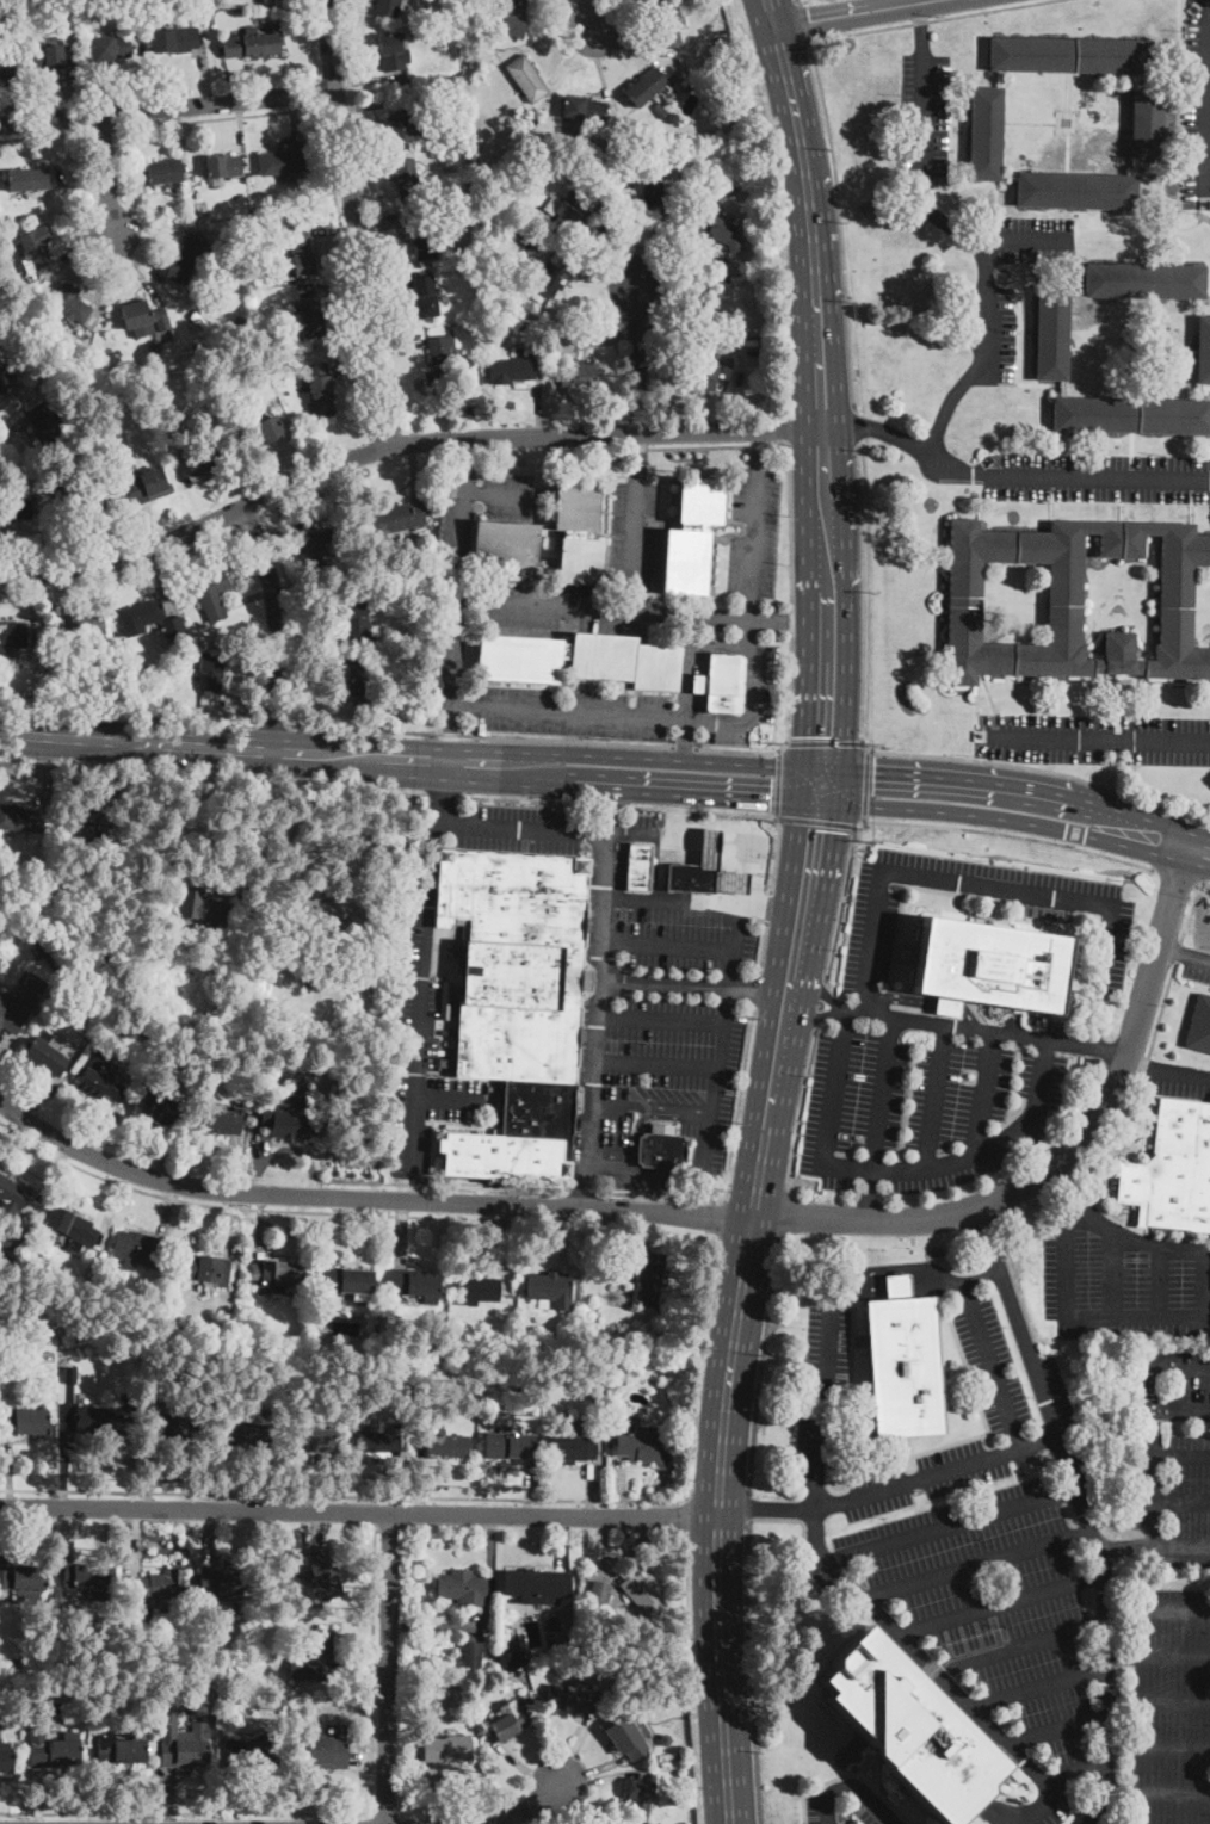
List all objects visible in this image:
building: (647, 0)
building: (649, 1)
road: (797, 1)
building: (92, 4)
building: (67, 5)
building: (387, 7)
building: (459, 7)
building: (7, 12)
road: (856, 13)
road: (589, 16)
building: (513, 18)
road: (803, 19)
road: (932, 19)
road: (922, 26)
building: (667, 29)
road: (313, 39)
building: (175, 41)
building: (726, 42)
building: (252, 43)
building: (110, 49)
building: (391, 52)
building: (1069, 56)
building: (51, 57)
building: (7, 63)
building: (526, 79)
road: (1179, 82)
building: (646, 88)
building: (451, 92)
road: (320, 93)
road: (167, 106)
building: (582, 109)
building: (659, 109)
road: (1206, 110)
parking lot: (1197, 113)
building: (672, 117)
parking lot: (922, 117)
building: (736, 124)
building: (1147, 125)
building: (402, 126)
road: (103, 130)
building: (986, 134)
road: (44, 136)
building: (422, 150)
building: (706, 154)
building: (283, 160)
building: (223, 167)
road: (332, 171)
building: (163, 172)
road: (105, 175)
building: (406, 179)
building: (27, 180)
building: (727, 183)
building: (469, 188)
building: (1078, 191)
building: (648, 192)
road: (774, 205)
building: (270, 209)
building: (570, 209)
building: (191, 217)
road: (840, 221)
road: (356, 223)
building: (715, 228)
building: (421, 234)
road: (147, 236)
parking lot: (1030, 239)
building: (536, 240)
road: (1017, 240)
building: (241, 246)
building: (35, 248)
road: (171, 249)
road: (976, 249)
building: (300, 251)
building: (190, 258)
building: (930, 262)
building: (548, 279)
building: (737, 280)
building: (1146, 280)
building: (425, 296)
building: (70, 304)
building: (700, 304)
building: (445, 310)
building: (143, 319)
building: (308, 320)
parking lot: (1004, 324)
building: (520, 326)
building: (475, 327)
building: (1052, 334)
building: (156, 346)
building: (1203, 351)
road: (638, 357)
building: (440, 361)
building: (512, 370)
building: (708, 371)
building: (247, 373)
building: (579, 373)
building: (4, 382)
building: (320, 390)
building: (154, 391)
building: (1131, 415)
building: (43, 422)
road: (856, 425)
road: (784, 427)
road: (882, 429)
building: (261, 432)
road: (759, 437)
building: (155, 440)
road: (399, 444)
road: (708, 444)
road: (638, 456)
building: (205, 458)
road: (1070, 475)
parking lot: (1098, 476)
building: (43, 481)
building: (146, 486)
road: (495, 490)
parking lot: (507, 493)
building: (88, 495)
building: (14, 508)
building: (394, 519)
road: (249, 521)
road: (790, 525)
parking lot: (753, 530)
parking lot: (631, 532)
building: (580, 534)
building: (692, 537)
building: (505, 544)
road: (634, 545)
building: (316, 548)
road: (450, 570)
road: (122, 576)
building: (211, 593)
building: (1072, 600)
parking lot: (551, 605)
road: (599, 607)
building: (142, 614)
road: (292, 616)
road: (788, 618)
road: (790, 622)
building: (358, 623)
road: (278, 625)
building: (80, 626)
building: (14, 635)
road: (687, 647)
building: (579, 661)
building: (141, 669)
building: (210, 672)
building: (362, 682)
building: (722, 684)
building: (113, 685)
parking lot: (746, 698)
parking lot: (570, 711)
road: (129, 716)
road: (735, 719)
road: (273, 723)
road: (364, 726)
road: (447, 731)
road: (449, 732)
road: (785, 735)
traffic signals: (825, 735)
road: (1103, 737)
road: (683, 738)
parking lot: (1094, 738)
road: (564, 740)
road: (823, 742)
road: (683, 746)
road: (277, 748)
road: (889, 752)
road: (685, 760)
traffic signals: (873, 774)
road: (215, 779)
road: (865, 781)
road: (969, 781)
road: (777, 784)
road: (683, 786)
traffic signals: (770, 792)
road: (444, 796)
road: (529, 799)
road: (610, 804)
road: (610, 806)
road: (737, 811)
road: (962, 812)
building: (17, 818)
road: (680, 820)
road: (814, 820)
road: (924, 824)
building: (89, 826)
road: (433, 826)
traffic signals: (814, 828)
road: (557, 829)
road: (703, 837)
road: (1156, 839)
road: (735, 840)
parking lot: (760, 852)
road: (711, 857)
building: (638, 867)
road: (661, 867)
building: (698, 868)
road: (724, 871)
road: (741, 871)
road: (1179, 874)
building: (733, 883)
road: (994, 889)
road: (672, 899)
road: (771, 905)
building: (202, 907)
road: (767, 907)
road: (1190, 907)
road: (802, 911)
building: (327, 915)
building: (231, 933)
road: (666, 946)
road: (761, 947)
road: (1172, 952)
building: (47, 953)
building: (229, 953)
road: (1178, 953)
parking lot: (870, 954)
road: (1198, 959)
parking lot: (1194, 964)
building: (989, 966)
building: (585, 981)
building: (308, 982)
road: (816, 982)
road: (692, 984)
parking lot: (644, 989)
road: (755, 990)
building: (445, 1000)
road: (597, 1001)
road: (926, 1002)
building: (20, 1003)
building: (517, 1004)
road: (820, 1006)
road: (660, 1019)
road: (809, 1021)
building: (1200, 1025)
road: (983, 1028)
road: (416, 1031)
building: (331, 1037)
road: (721, 1039)
building: (44, 1053)
building: (390, 1061)
parking lot: (426, 1062)
road: (656, 1064)
road: (1136, 1064)
road: (1180, 1071)
parking lot: (1177, 1077)
building: (99, 1082)
road: (833, 1084)
road: (883, 1092)
road: (983, 1092)
road: (934, 1095)
road: (451, 1100)
road: (739, 1102)
parking lot: (928, 1103)
road: (611, 1106)
road: (801, 1108)
building: (159, 1109)
road: (669, 1109)
road: (1118, 1119)
building: (218, 1121)
building: (284, 1125)
road: (636, 1133)
building: (662, 1151)
road: (970, 1155)
building: (1173, 1170)
road: (647, 1173)
road: (420, 1183)
road: (443, 1186)
road: (587, 1188)
road: (584, 1192)
building: (13, 1193)
road: (869, 1193)
road: (661, 1195)
road: (273, 1208)
road: (784, 1210)
road: (697, 1214)
road: (721, 1218)
road: (990, 1224)
building: (72, 1228)
road: (1117, 1231)
building: (12, 1235)
building: (137, 1248)
road: (1066, 1255)
building: (205, 1267)
road: (913, 1267)
road: (1113, 1272)
building: (276, 1273)
parking lot: (1121, 1278)
building: (650, 1279)
road: (1160, 1280)
building: (348, 1281)
road: (1209, 1281)
building: (414, 1284)
road: (1004, 1284)
building: (481, 1290)
building: (550, 1291)
building: (526, 1305)
road: (1137, 1315)
building: (43, 1341)
parking lot: (829, 1344)
building: (609, 1353)
road: (760, 1361)
building: (903, 1362)
parking lot: (990, 1366)
road: (990, 1366)
road: (1180, 1366)
road: (699, 1367)
building: (592, 1372)
building: (70, 1374)
parking lot: (1169, 1383)
road: (1150, 1387)
building: (551, 1402)
road: (1180, 1409)
building: (26, 1421)
building: (106, 1421)
building: (180, 1429)
road: (817, 1430)
building: (253, 1433)
road: (1057, 1437)
building: (311, 1440)
building: (377, 1442)
building: (443, 1445)
building: (637, 1445)
building: (510, 1447)
building: (574, 1448)
parking lot: (810, 1449)
road: (1179, 1454)
road: (936, 1473)
road: (344, 1494)
road: (1179, 1498)
road: (1147, 1500)
parking lot: (1171, 1500)
road: (749, 1505)
road: (765, 1508)
road: (359, 1509)
road: (372, 1509)
road: (685, 1519)
road: (792, 1519)
road: (950, 1522)
road: (1178, 1546)
road: (976, 1564)
building: (325, 1571)
building: (86, 1575)
building: (23, 1578)
building: (218, 1584)
building: (537, 1584)
building: (152, 1587)
building: (463, 1588)
building: (599, 1589)
building: (644, 1594)
road: (1001, 1603)
road: (1157, 1607)
parking lot: (1033, 1618)
building: (551, 1640)
road: (1020, 1645)
building: (489, 1647)
road: (1157, 1651)
building: (317, 1652)
building: (473, 1655)
building: (508, 1662)
building: (486, 1663)
road: (388, 1667)
building: (296, 1668)
road: (370, 1668)
road: (1106, 1668)
road: (751, 1671)
building: (644, 1674)
road: (939, 1677)
road: (690, 1682)
road: (1038, 1688)
building: (573, 1699)
road: (1157, 1701)
building: (511, 1723)
building: (908, 1727)
road: (1055, 1729)
building: (626, 1738)
building: (665, 1738)
building: (183, 1743)
road: (1159, 1745)
building: (118, 1749)
building: (446, 1749)
building: (51, 1750)
building: (327, 1752)
building: (252, 1754)
building: (4, 1755)
road: (1074, 1773)
road: (852, 1786)
road: (1156, 1792)
building: (638, 1798)
parking lot: (848, 1805)
road: (530, 1806)
road: (1118, 1807)
road: (1037, 1808)
road: (184, 1812)
road: (370, 1818)

